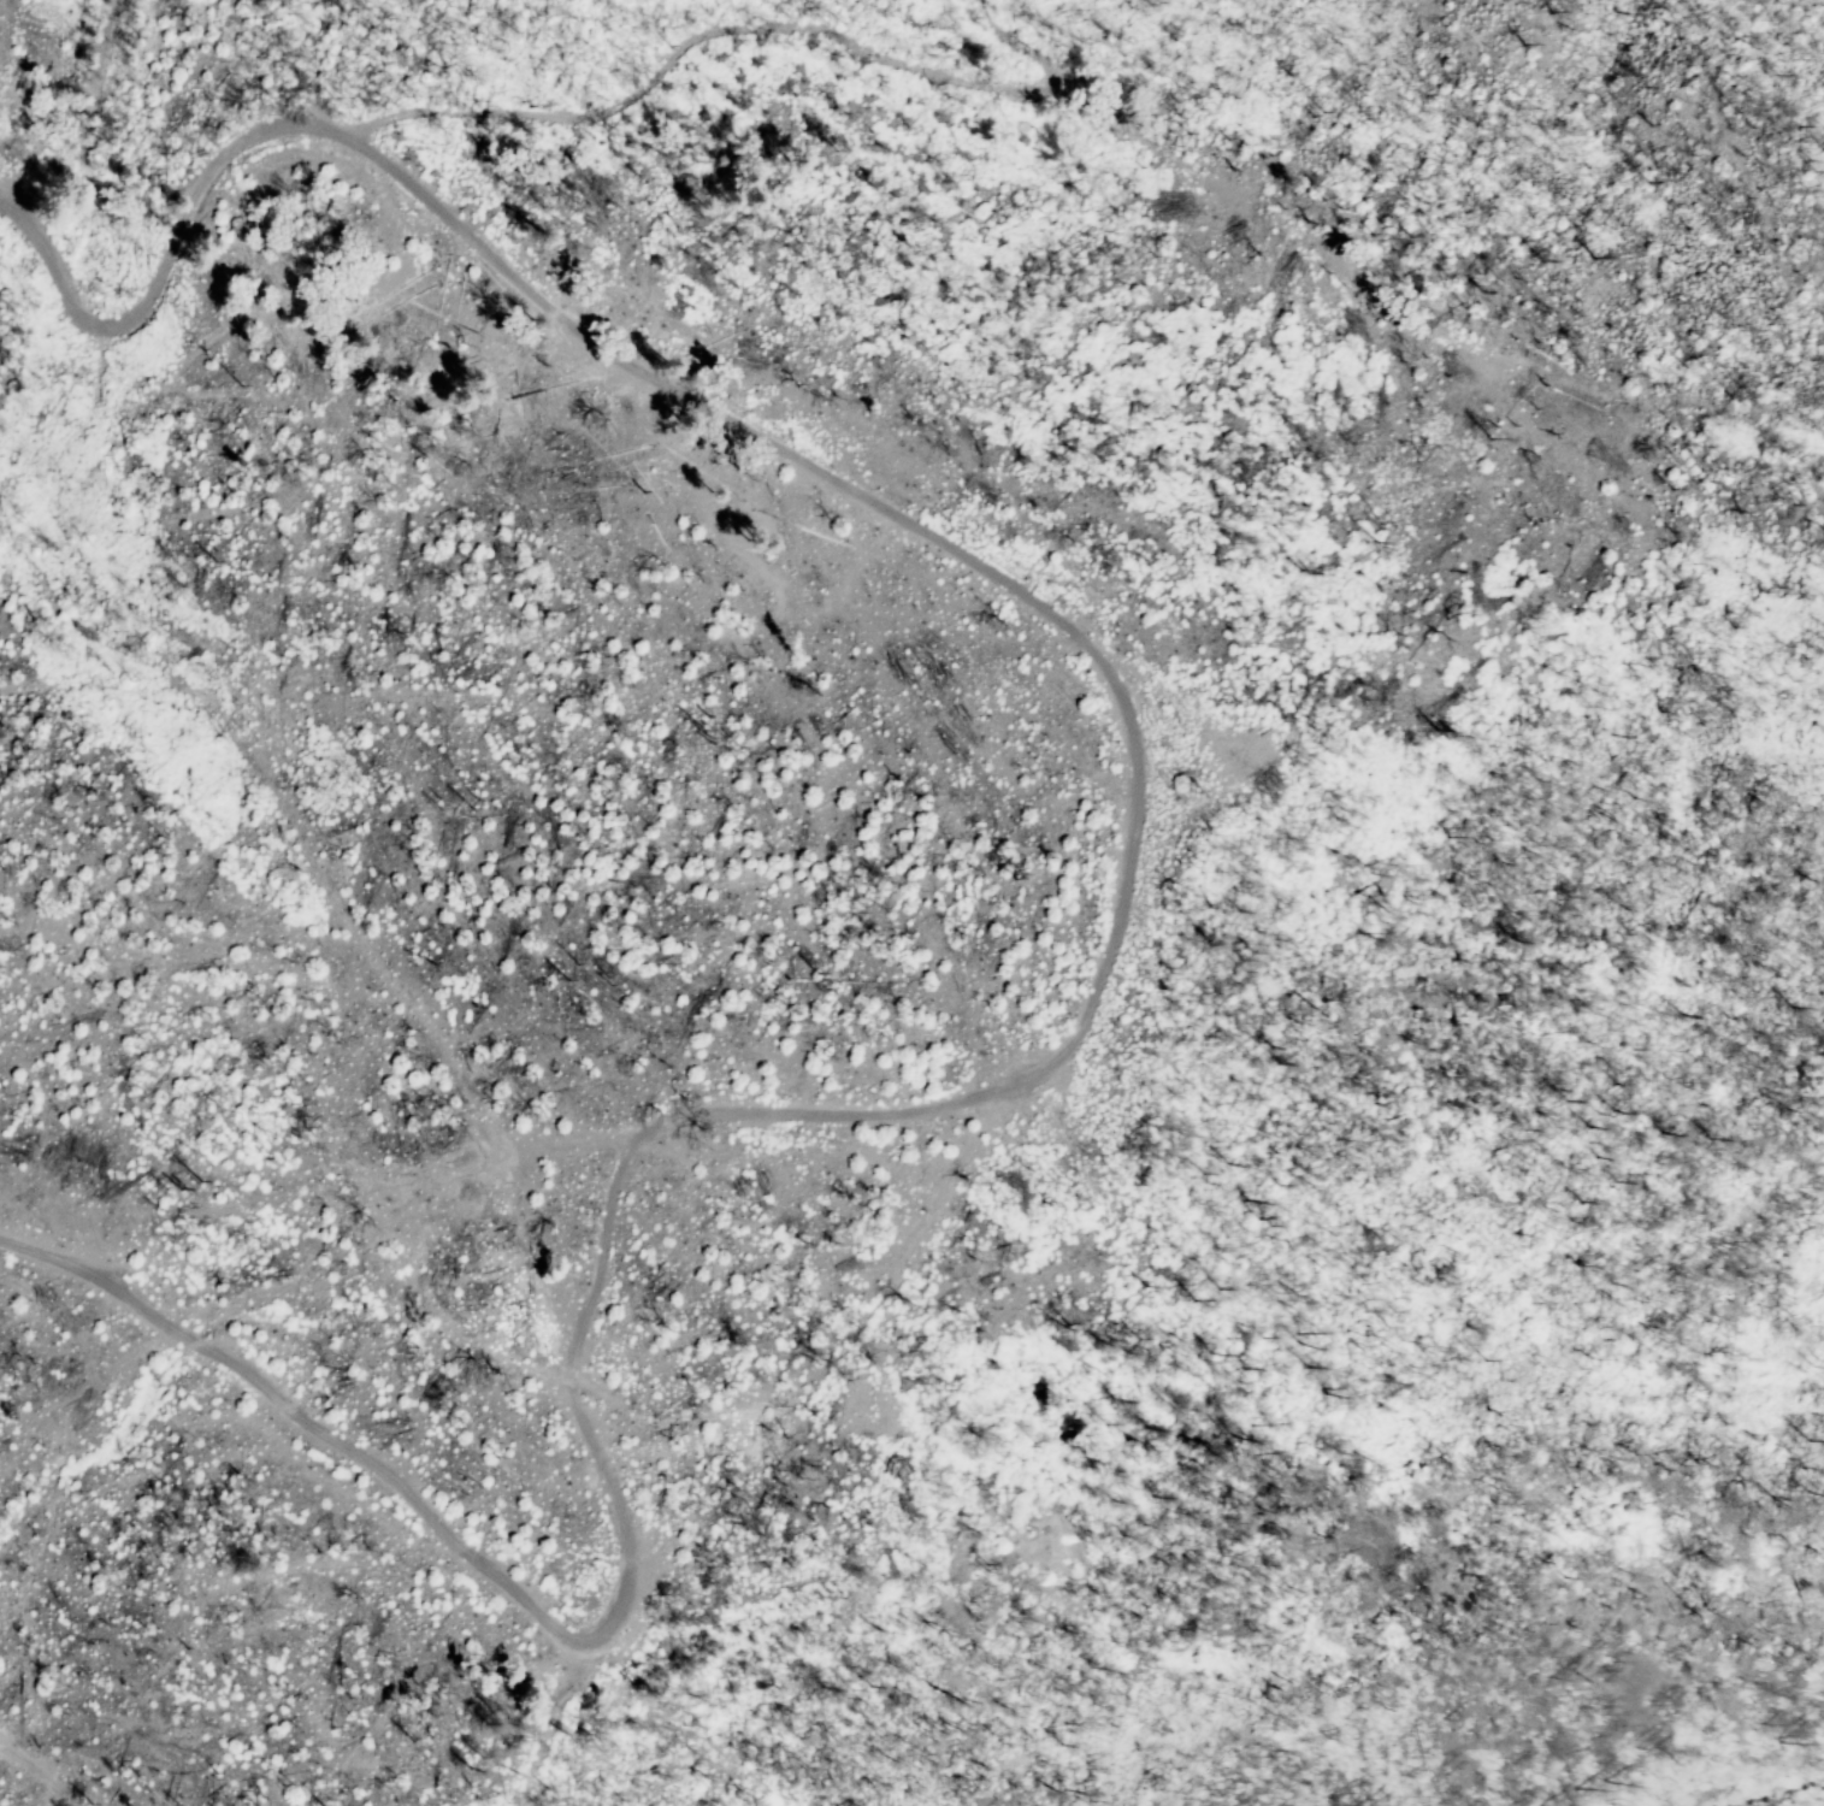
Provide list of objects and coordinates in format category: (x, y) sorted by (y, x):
road: (622, 117)
road: (1093, 668)
road: (341, 902)
road: (313, 1420)
road: (547, 1735)
road: (33, 1781)

